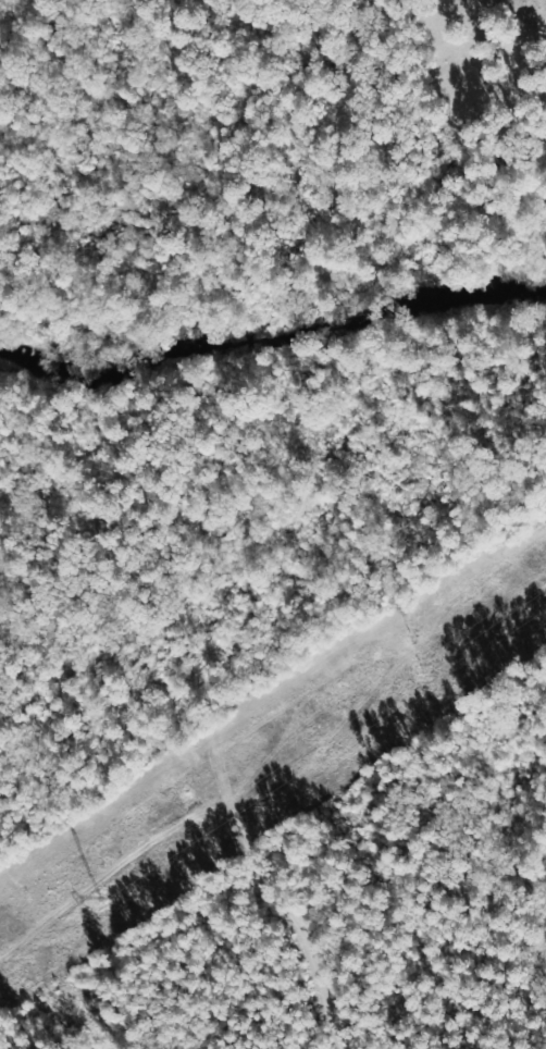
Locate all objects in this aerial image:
road: (132, 177)
power tower: (98, 897)

